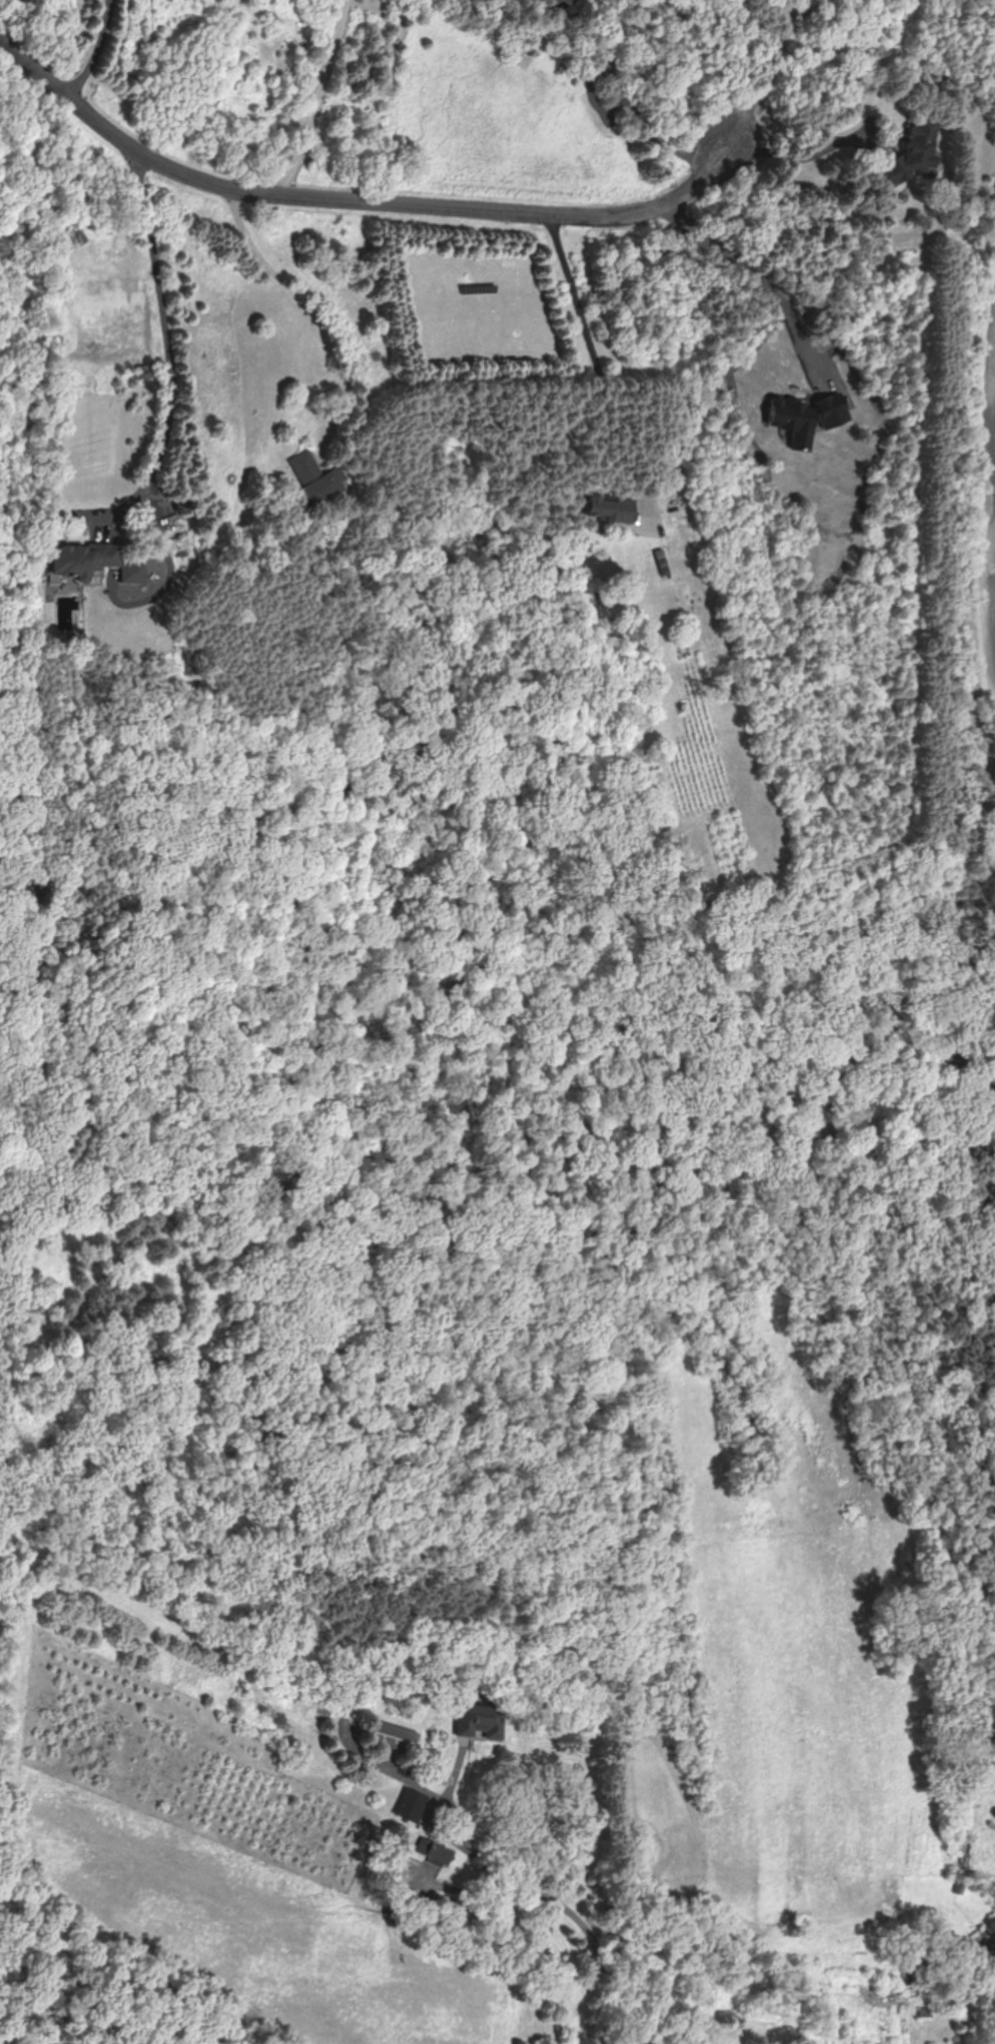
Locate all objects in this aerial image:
building: (579, 4)
road: (98, 48)
road: (769, 74)
road: (319, 100)
road: (629, 119)
building: (919, 148)
road: (806, 151)
road: (352, 200)
road: (311, 309)
road: (175, 340)
road: (593, 348)
building: (315, 478)
building: (609, 508)
building: (84, 559)
building: (482, 1721)
building: (398, 1738)
building: (412, 1804)
building: (433, 1850)
road: (564, 1900)
building: (991, 1928)

